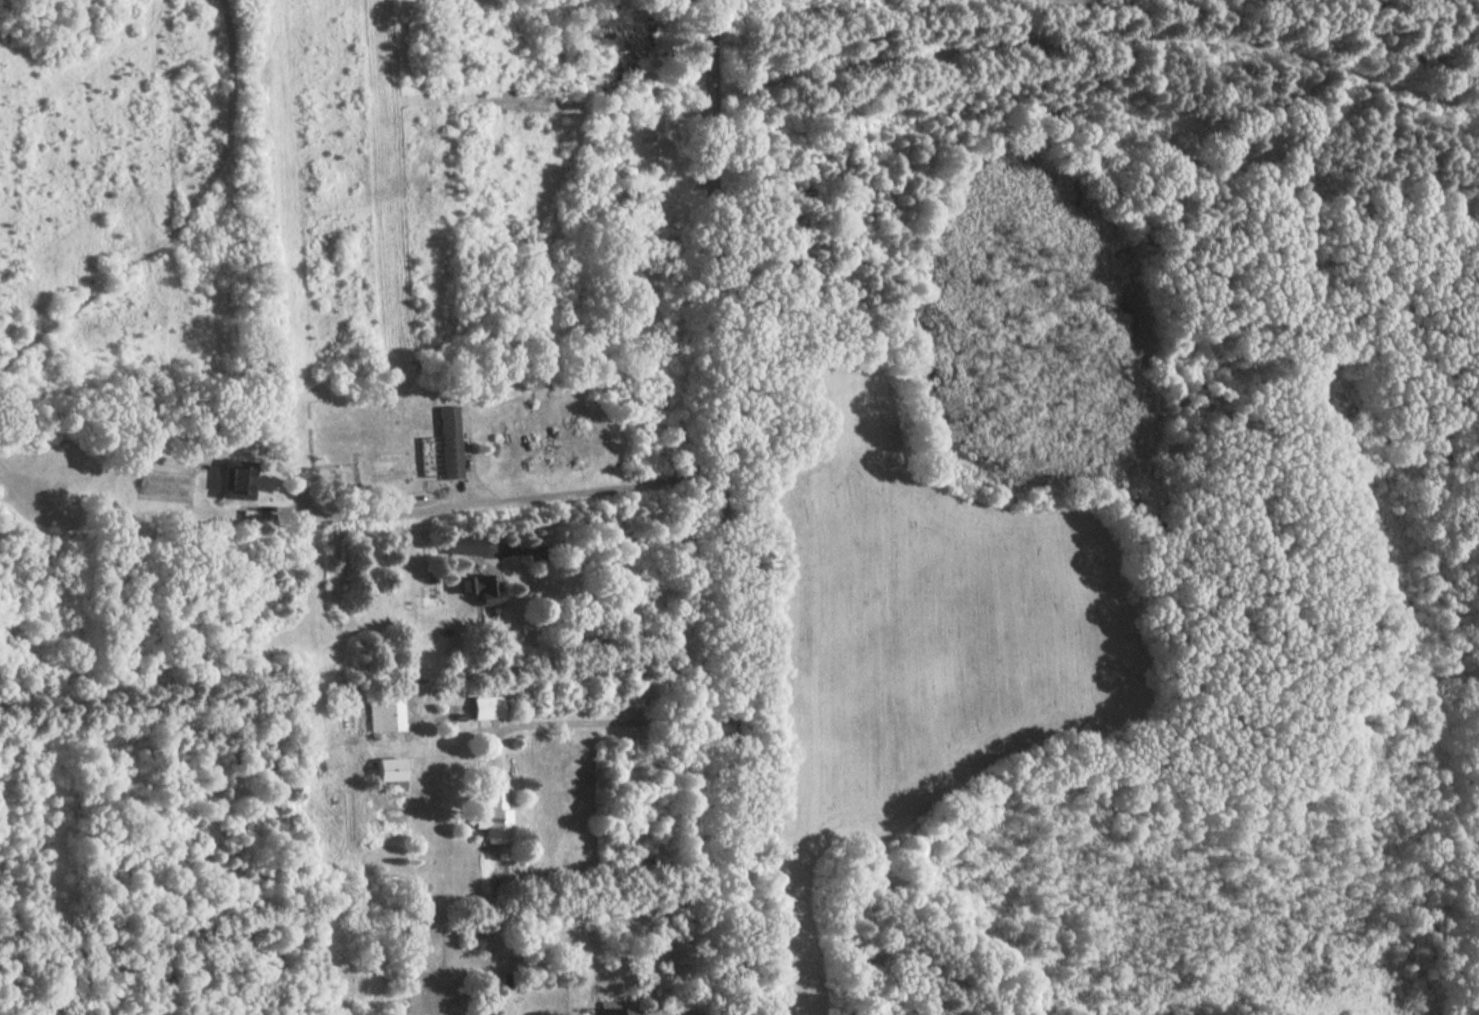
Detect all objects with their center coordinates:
building: (633, 37)
building: (449, 456)
building: (238, 480)
building: (168, 485)
road: (495, 501)
road: (720, 507)
road: (610, 544)
building: (450, 549)
building: (477, 588)
building: (484, 708)
building: (383, 714)
road: (589, 725)
building: (386, 769)
building: (490, 816)
building: (612, 1009)

